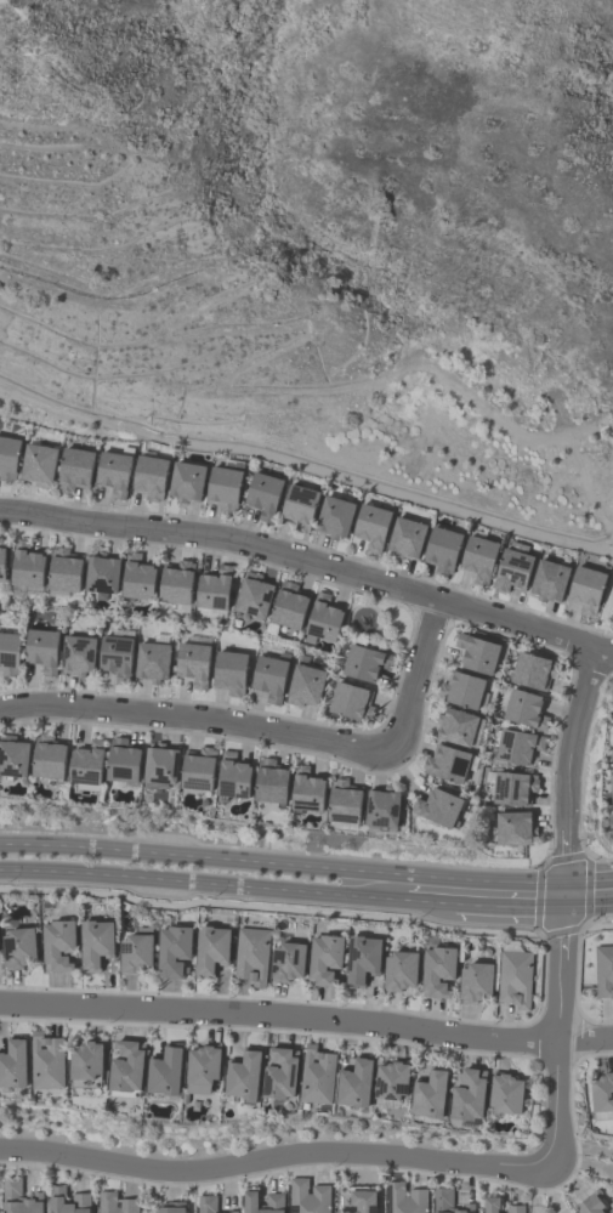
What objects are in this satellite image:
building: (7, 455)
road: (307, 458)
building: (38, 463)
building: (74, 466)
building: (113, 471)
building: (148, 475)
building: (186, 480)
building: (223, 483)
building: (263, 492)
building: (299, 504)
building: (333, 515)
building: (370, 525)
building: (405, 535)
building: (441, 548)
building: (478, 556)
building: (1, 557)
road: (311, 561)
building: (25, 563)
building: (512, 566)
building: (63, 569)
building: (101, 572)
building: (136, 577)
building: (547, 579)
building: (176, 583)
building: (212, 586)
building: (585, 588)
building: (252, 594)
building: (288, 605)
building: (612, 610)
building: (322, 618)
building: (612, 619)
building: (41, 648)
building: (476, 651)
building: (8, 652)
building: (76, 653)
building: (115, 654)
building: (152, 661)
building: (364, 661)
building: (193, 662)
building: (532, 669)
building: (229, 670)
road: (416, 670)
building: (268, 676)
building: (305, 684)
building: (461, 687)
building: (350, 699)
building: (524, 707)
road: (195, 721)
building: (456, 725)
building: (516, 744)
building: (612, 749)
building: (12, 755)
building: (47, 755)
building: (121, 759)
building: (86, 761)
building: (445, 761)
building: (160, 763)
road: (575, 765)
building: (197, 767)
building: (233, 775)
building: (269, 780)
building: (612, 786)
building: (512, 787)
building: (306, 789)
building: (344, 800)
building: (381, 805)
building: (438, 805)
building: (612, 823)
building: (513, 827)
road: (259, 863)
road: (588, 880)
road: (540, 882)
road: (202, 886)
road: (563, 896)
road: (428, 903)
road: (509, 907)
road: (588, 908)
building: (95, 941)
building: (57, 943)
building: (17, 946)
building: (210, 947)
building: (172, 948)
building: (134, 952)
building: (251, 954)
building: (324, 957)
building: (362, 958)
building: (286, 960)
building: (436, 967)
building: (399, 969)
building: (603, 970)
building: (513, 977)
building: (475, 981)
road: (306, 1018)
road: (554, 1037)
building: (85, 1059)
building: (46, 1060)
building: (12, 1062)
building: (126, 1065)
building: (202, 1067)
building: (165, 1070)
building: (280, 1072)
building: (243, 1075)
building: (317, 1075)
building: (391, 1079)
building: (356, 1082)
building: (428, 1092)
building: (505, 1092)
building: (469, 1093)
building: (602, 1095)
road: (584, 1140)
road: (274, 1157)
road: (535, 1189)
building: (308, 1196)
building: (18, 1197)
building: (405, 1198)
building: (276, 1200)
building: (67, 1201)
building: (362, 1201)
building: (448, 1201)
building: (590, 1202)
building: (117, 1203)
building: (206, 1203)
building: (490, 1203)
building: (170, 1207)
building: (515, 1208)
building: (611, 1209)
building: (228, 1211)

